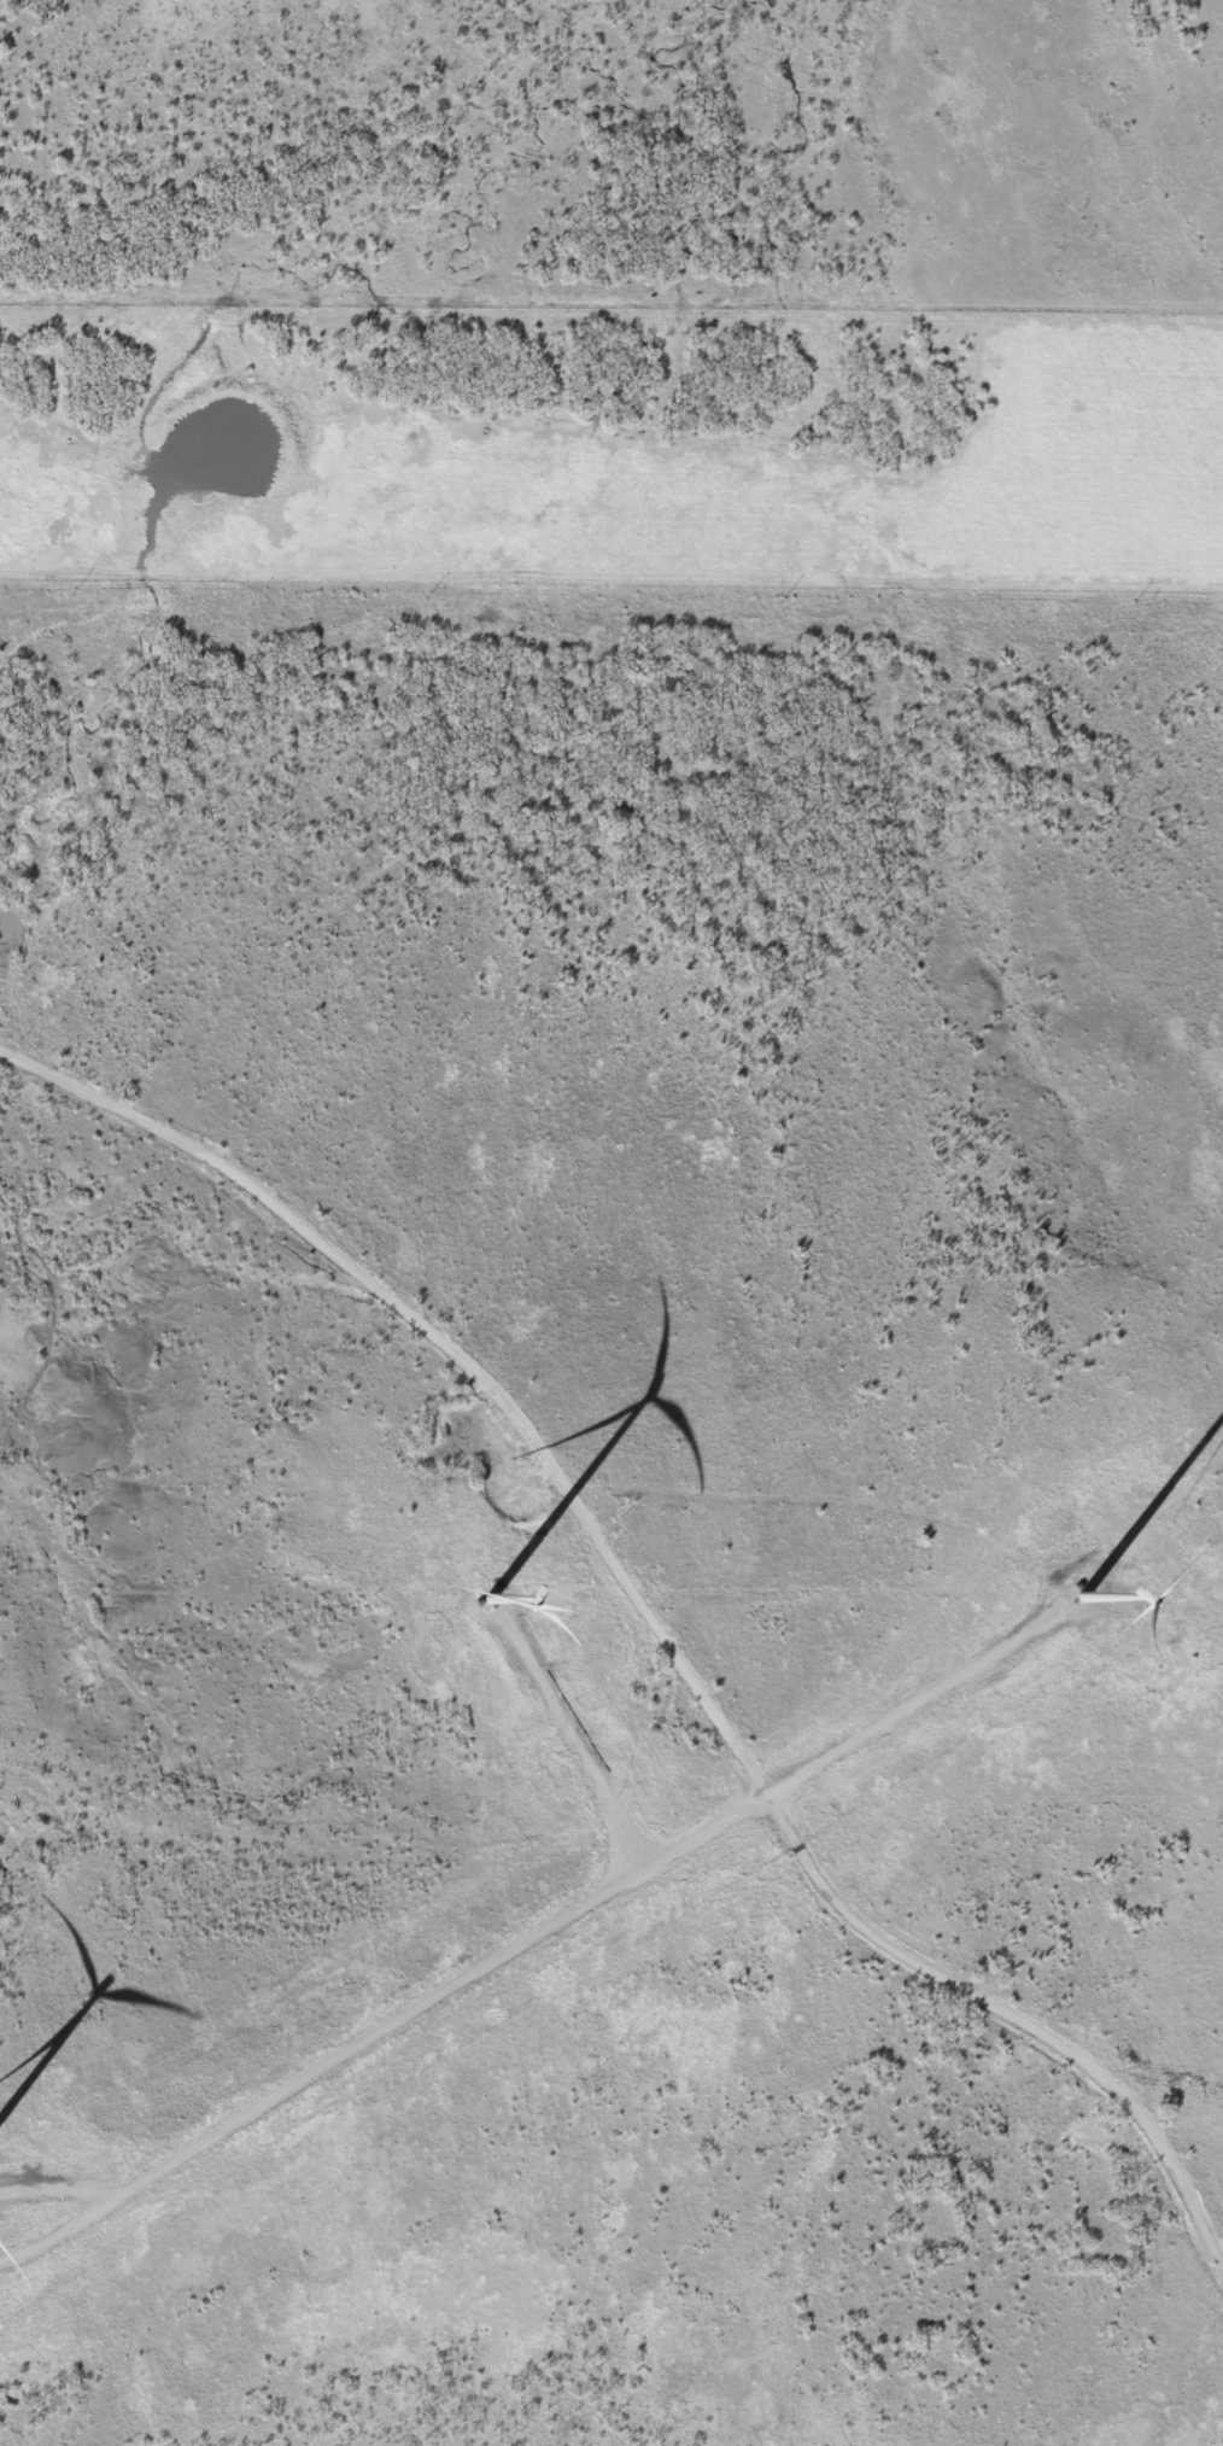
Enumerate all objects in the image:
road: (497, 1467)
wind turbine: (1084, 1600)
wind turbine: (491, 1605)
road: (850, 1995)

